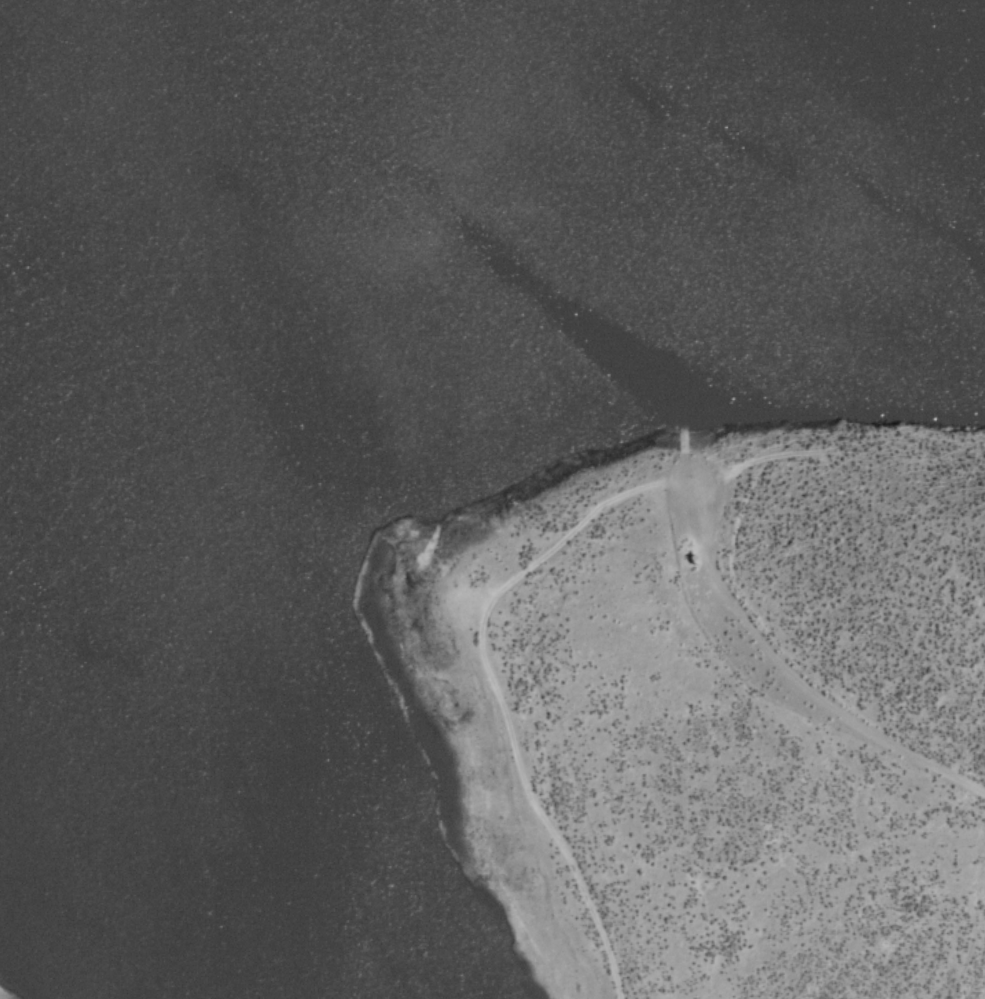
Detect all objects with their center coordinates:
road: (678, 436)
road: (747, 458)
road: (680, 472)
road: (582, 515)
building: (692, 555)

